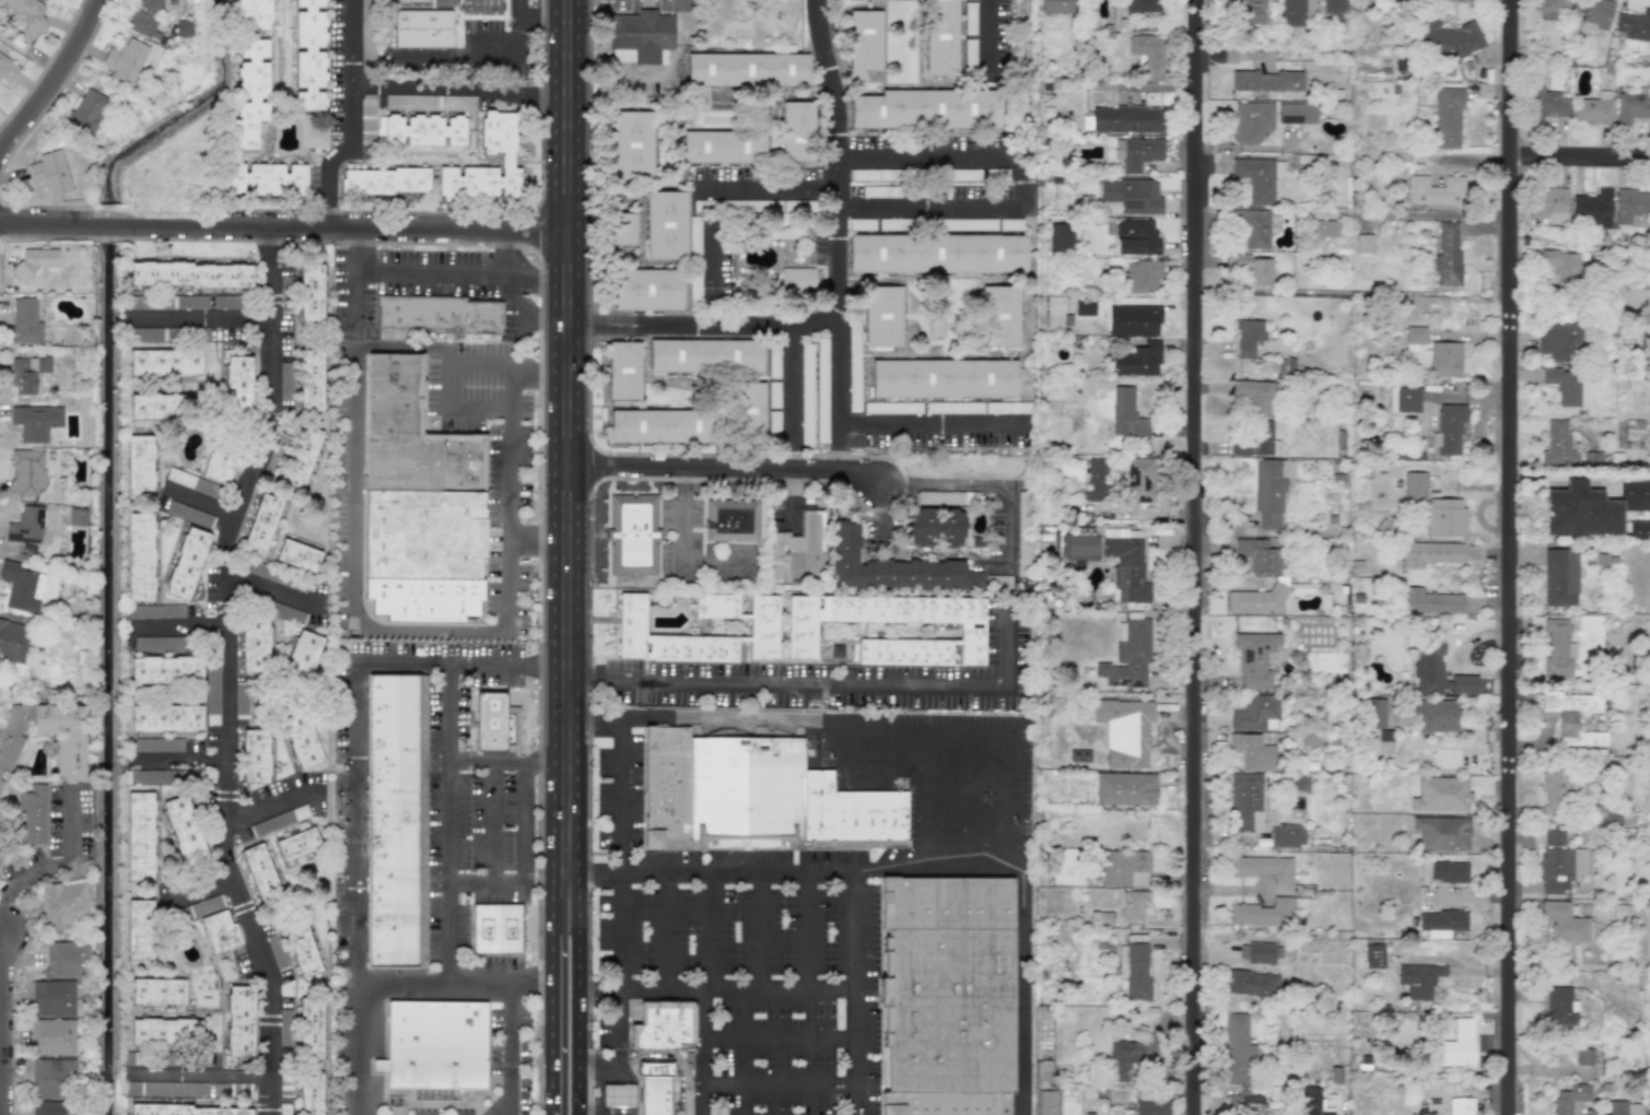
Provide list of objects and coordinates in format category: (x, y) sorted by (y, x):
building: (410, 0)
building: (1394, 0)
building: (1547, 5)
building: (1055, 8)
building: (1140, 8)
road: (518, 10)
building: (1253, 11)
building: (1310, 11)
building: (28, 13)
building: (253, 14)
building: (1594, 14)
building: (144, 19)
building: (970, 19)
building: (456, 23)
building: (1634, 25)
building: (422, 28)
road: (987, 35)
building: (639, 36)
building: (940, 36)
building: (1451, 38)
building: (863, 42)
road: (351, 43)
building: (969, 52)
building: (309, 54)
road: (495, 55)
building: (1149, 55)
building: (125, 59)
building: (8, 68)
building: (747, 68)
road: (54, 78)
building: (1264, 81)
road: (436, 89)
building: (249, 93)
road: (543, 96)
building: (430, 102)
building: (1545, 103)
building: (927, 107)
building: (1631, 107)
building: (366, 108)
building: (1593, 109)
building: (84, 113)
building: (1296, 114)
building: (1448, 118)
building: (1127, 119)
building: (1251, 121)
building: (796, 129)
building: (421, 130)
building: (312, 131)
road: (348, 144)
building: (631, 144)
building: (723, 144)
building: (1139, 153)
building: (506, 160)
road: (1582, 164)
building: (50, 174)
building: (870, 175)
building: (972, 175)
building: (266, 179)
building: (1255, 179)
building: (384, 181)
road: (1020, 184)
road: (768, 189)
building: (879, 191)
building: (1431, 191)
building: (1132, 196)
building: (756, 204)
building: (1629, 204)
building: (1548, 206)
building: (1593, 208)
road: (328, 211)
building: (667, 223)
building: (862, 224)
building: (887, 224)
building: (968, 224)
building: (1010, 224)
road: (283, 225)
building: (1253, 227)
building: (622, 228)
building: (1323, 228)
building: (1060, 235)
building: (1136, 237)
building: (937, 251)
building: (1447, 254)
building: (34, 261)
building: (693, 262)
building: (1561, 267)
building: (1254, 269)
building: (189, 273)
road: (438, 274)
building: (1140, 275)
building: (797, 280)
road: (836, 286)
building: (646, 290)
building: (311, 294)
road: (512, 298)
building: (225, 302)
building: (1083, 308)
road: (356, 309)
building: (438, 314)
building: (881, 315)
building: (997, 316)
road: (198, 317)
building: (1133, 320)
building: (24, 321)
building: (935, 326)
building: (143, 334)
building: (1415, 334)
building: (1250, 338)
building: (1558, 338)
building: (704, 355)
building: (1444, 359)
building: (1137, 360)
building: (165, 363)
building: (853, 367)
building: (623, 371)
building: (26, 373)
building: (944, 377)
building: (311, 380)
road: (791, 382)
building: (238, 384)
road: (512, 385)
building: (1563, 385)
building: (821, 390)
building: (779, 395)
building: (806, 395)
building: (1255, 396)
building: (1404, 399)
building: (83, 406)
building: (156, 407)
building: (892, 408)
building: (953, 408)
building: (1006, 408)
building: (747, 413)
building: (1126, 414)
road: (875, 419)
building: (35, 422)
building: (658, 425)
building: (1448, 431)
building: (1253, 441)
building: (1557, 446)
building: (274, 450)
road: (565, 451)
building: (301, 457)
building: (1591, 458)
building: (139, 465)
building: (220, 467)
road: (724, 470)
building: (26, 472)
building: (1097, 479)
building: (1137, 481)
building: (191, 482)
building: (1414, 486)
road: (997, 488)
building: (1269, 492)
road: (203, 503)
building: (417, 507)
building: (1590, 508)
building: (189, 514)
road: (681, 514)
building: (77, 517)
building: (1444, 519)
building: (730, 520)
building: (25, 526)
building: (261, 526)
building: (936, 528)
building: (1639, 529)
building: (634, 537)
road: (538, 539)
building: (801, 540)
building: (1428, 553)
building: (1647, 554)
building: (299, 555)
building: (1257, 555)
building: (139, 556)
road: (1512, 556)
road: (1197, 557)
road: (707, 559)
building: (187, 563)
building: (1132, 563)
building: (890, 567)
building: (774, 570)
building: (1560, 577)
building: (998, 582)
building: (21, 587)
road: (269, 590)
building: (1261, 600)
building: (1429, 601)
building: (153, 611)
building: (286, 613)
road: (179, 624)
road: (469, 626)
building: (762, 626)
building: (800, 631)
building: (14, 641)
building: (154, 643)
building: (255, 644)
building: (1558, 649)
building: (302, 655)
building: (1128, 658)
building: (1254, 659)
building: (1429, 667)
building: (166, 669)
road: (227, 669)
building: (1463, 684)
road: (820, 688)
building: (212, 691)
building: (241, 700)
building: (1254, 713)
building: (1437, 716)
road: (709, 717)
building: (1572, 717)
building: (166, 718)
building: (495, 724)
building: (1124, 730)
road: (988, 735)
building: (302, 740)
building: (157, 744)
building: (70, 751)
building: (1252, 752)
building: (1078, 755)
building: (255, 756)
road: (176, 760)
road: (506, 761)
road: (875, 768)
building: (150, 776)
building: (0, 780)
building: (1299, 783)
building: (665, 786)
road: (356, 787)
building: (1124, 788)
building: (745, 791)
building: (1553, 791)
building: (1441, 795)
road: (971, 798)
road: (931, 799)
building: (1247, 800)
road: (267, 808)
building: (852, 813)
building: (32, 815)
building: (279, 821)
building: (396, 821)
road: (494, 821)
road: (445, 822)
building: (185, 831)
building: (140, 836)
building: (1286, 836)
building: (297, 844)
building: (0, 854)
road: (620, 855)
road: (524, 859)
building: (1554, 862)
building: (1579, 862)
road: (918, 866)
building: (1124, 867)
road: (49, 868)
building: (1264, 868)
building: (260, 872)
building: (1448, 872)
road: (199, 889)
building: (946, 903)
building: (63, 905)
building: (1133, 906)
building: (200, 907)
building: (1263, 912)
road: (555, 918)
building: (1100, 918)
building: (1564, 922)
building: (1441, 923)
building: (139, 929)
building: (495, 929)
road: (713, 930)
road: (761, 930)
road: (809, 930)
building: (220, 931)
road: (665, 931)
building: (1307, 944)
building: (302, 948)
building: (1257, 952)
building: (1370, 955)
building: (66, 959)
building: (1136, 971)
building: (1418, 979)
road: (454, 982)
building: (1251, 984)
road: (718, 990)
building: (157, 991)
road: (856, 991)
building: (52, 998)
building: (1560, 1007)
road: (578, 1008)
building: (947, 1020)
road: (2, 1023)
building: (238, 1023)
road: (550, 1024)
building: (663, 1025)
building: (309, 1030)
building: (165, 1032)
building: (52, 1036)
road: (781, 1037)
building: (434, 1045)
building: (1458, 1045)
building: (1237, 1047)
road: (511, 1048)
building: (1126, 1051)
road: (704, 1053)
building: (1583, 1057)
road: (204, 1077)
building: (51, 1078)
road: (601, 1079)
road: (780, 1087)
building: (165, 1089)
building: (232, 1089)
building: (654, 1089)
building: (309, 1093)
building: (618, 1095)
building: (1571, 1100)
building: (1308, 1101)
building: (1046, 1102)
building: (1240, 1104)
building: (1432, 1106)
building: (1461, 1106)
building: (1151, 1107)
building: (1614, 1107)
building: (54, 1108)
building: (1633, 1108)
building: (189, 1110)
building: (1089, 1114)

